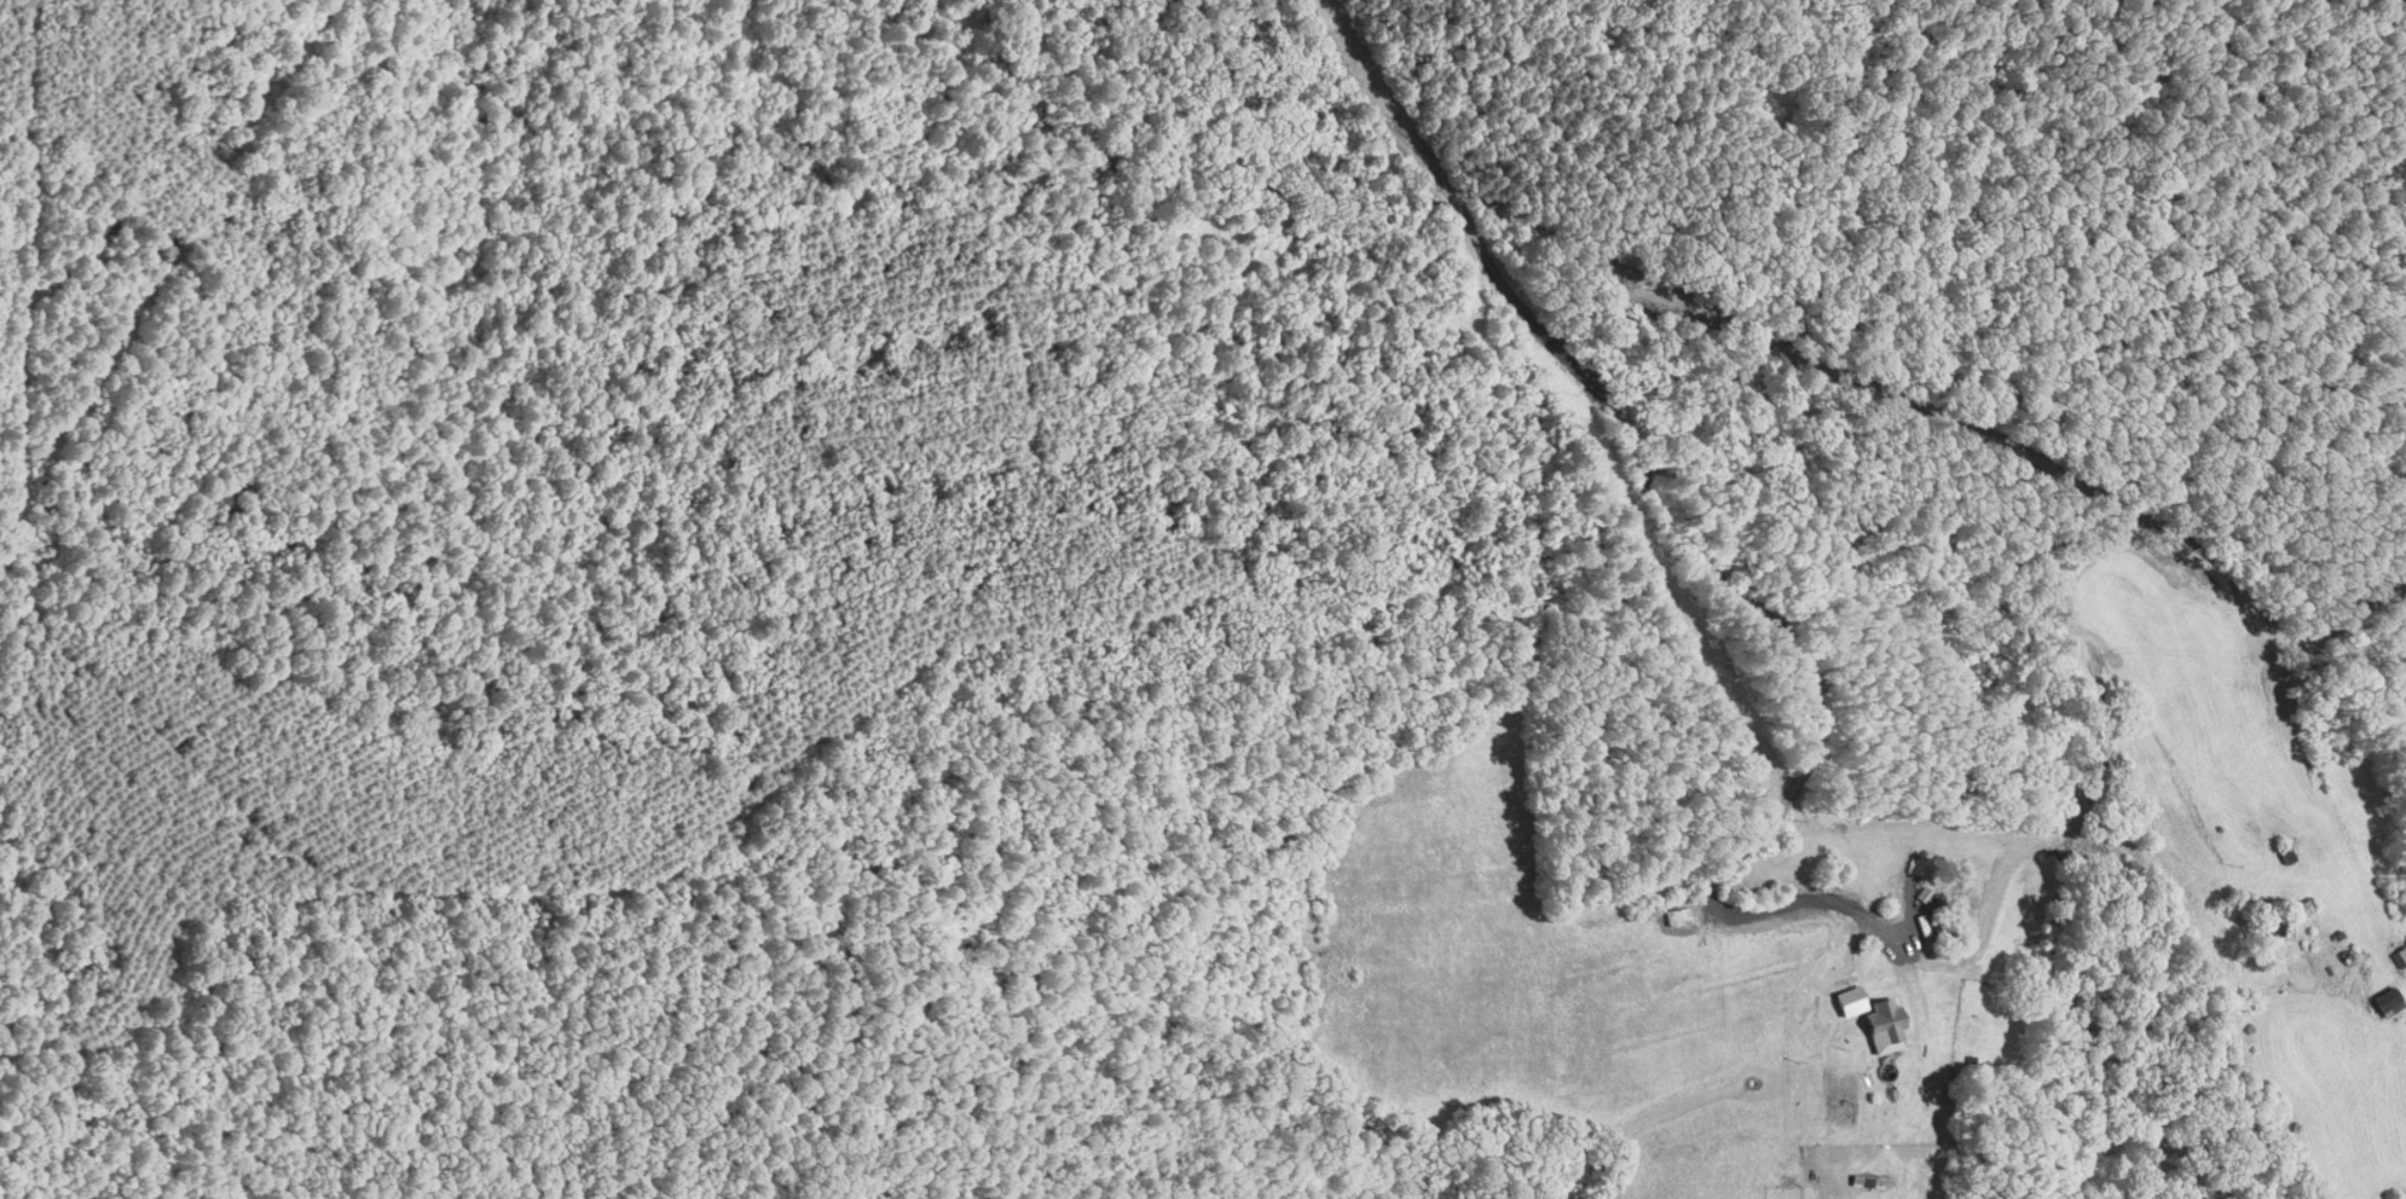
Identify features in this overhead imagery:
road: (2018, 444)
road: (1677, 538)
building: (2283, 856)
building: (2271, 923)
building: (2396, 957)
building: (2384, 1002)
building: (1885, 1021)

